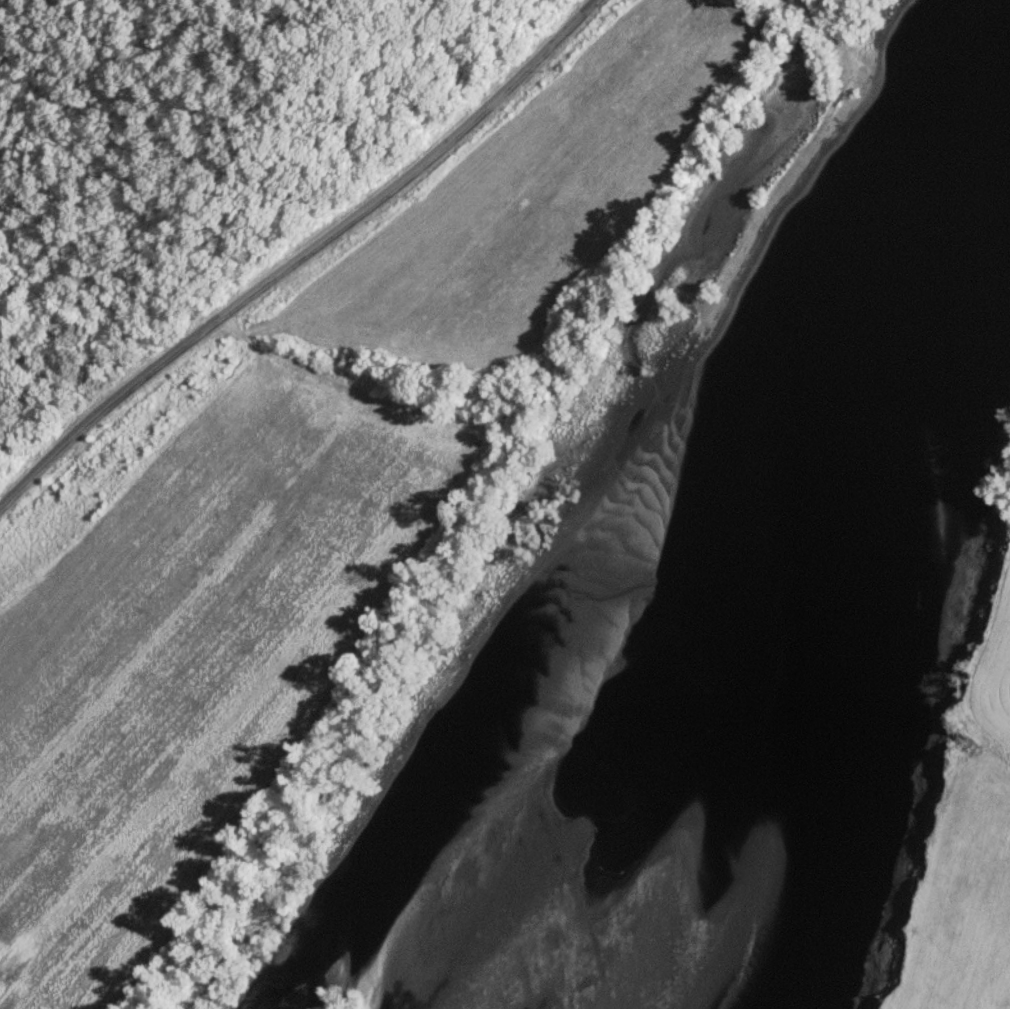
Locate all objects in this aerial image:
road: (141, 143)
road: (297, 248)
river: (831, 564)

